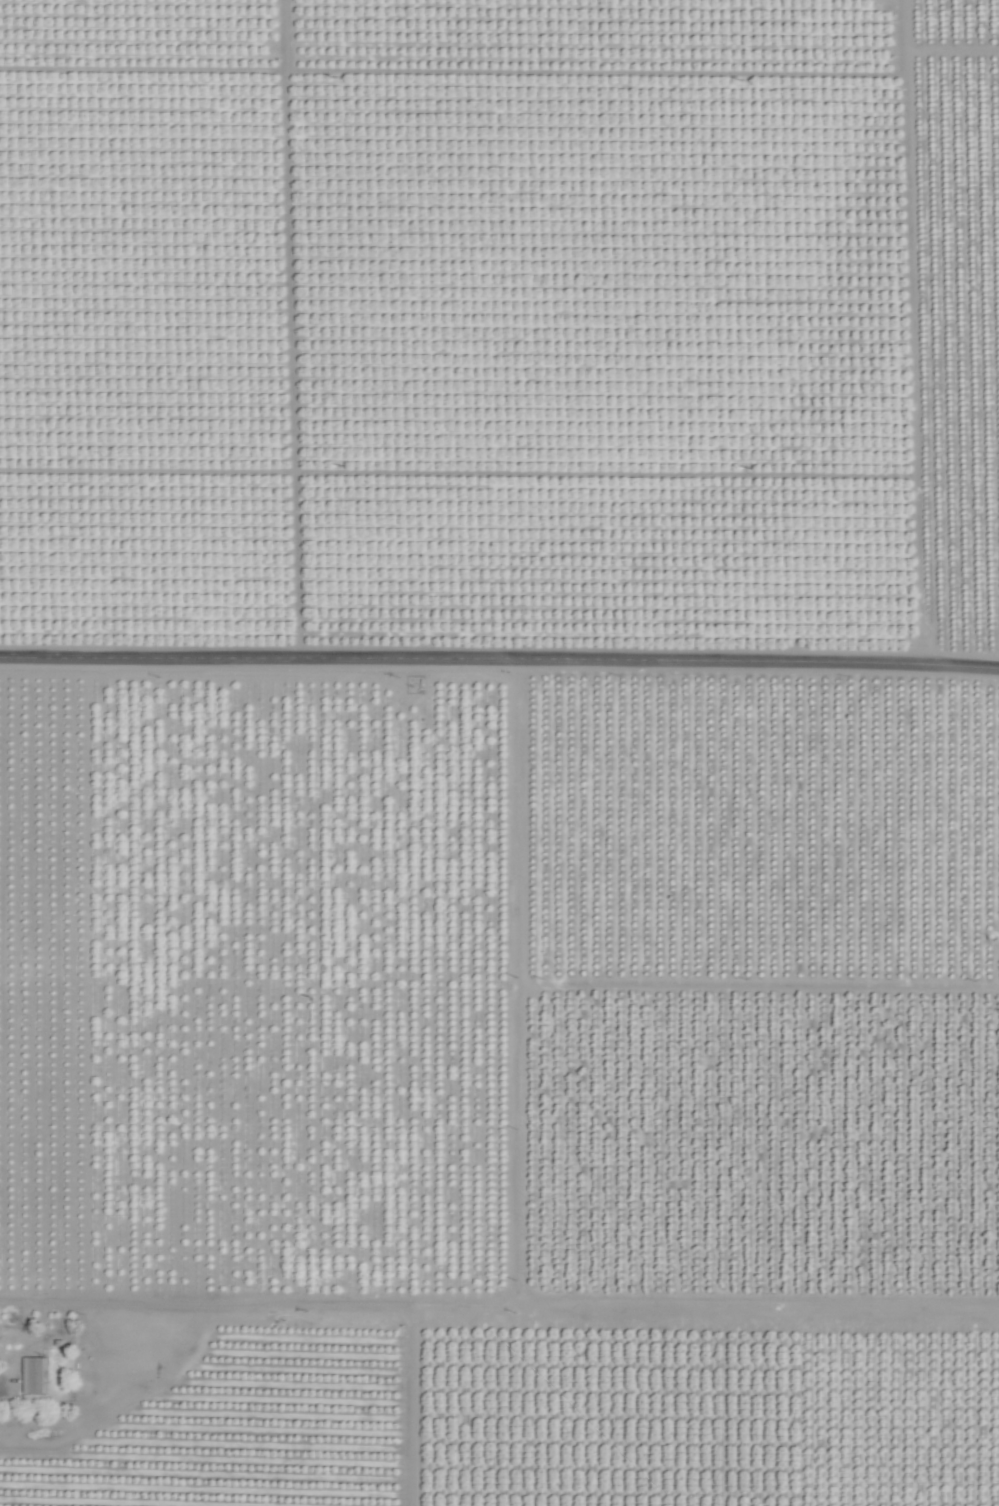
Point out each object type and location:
road: (912, 332)
road: (499, 659)
crop: (499, 753)
road: (597, 985)
road: (593, 1312)
building: (34, 1375)

